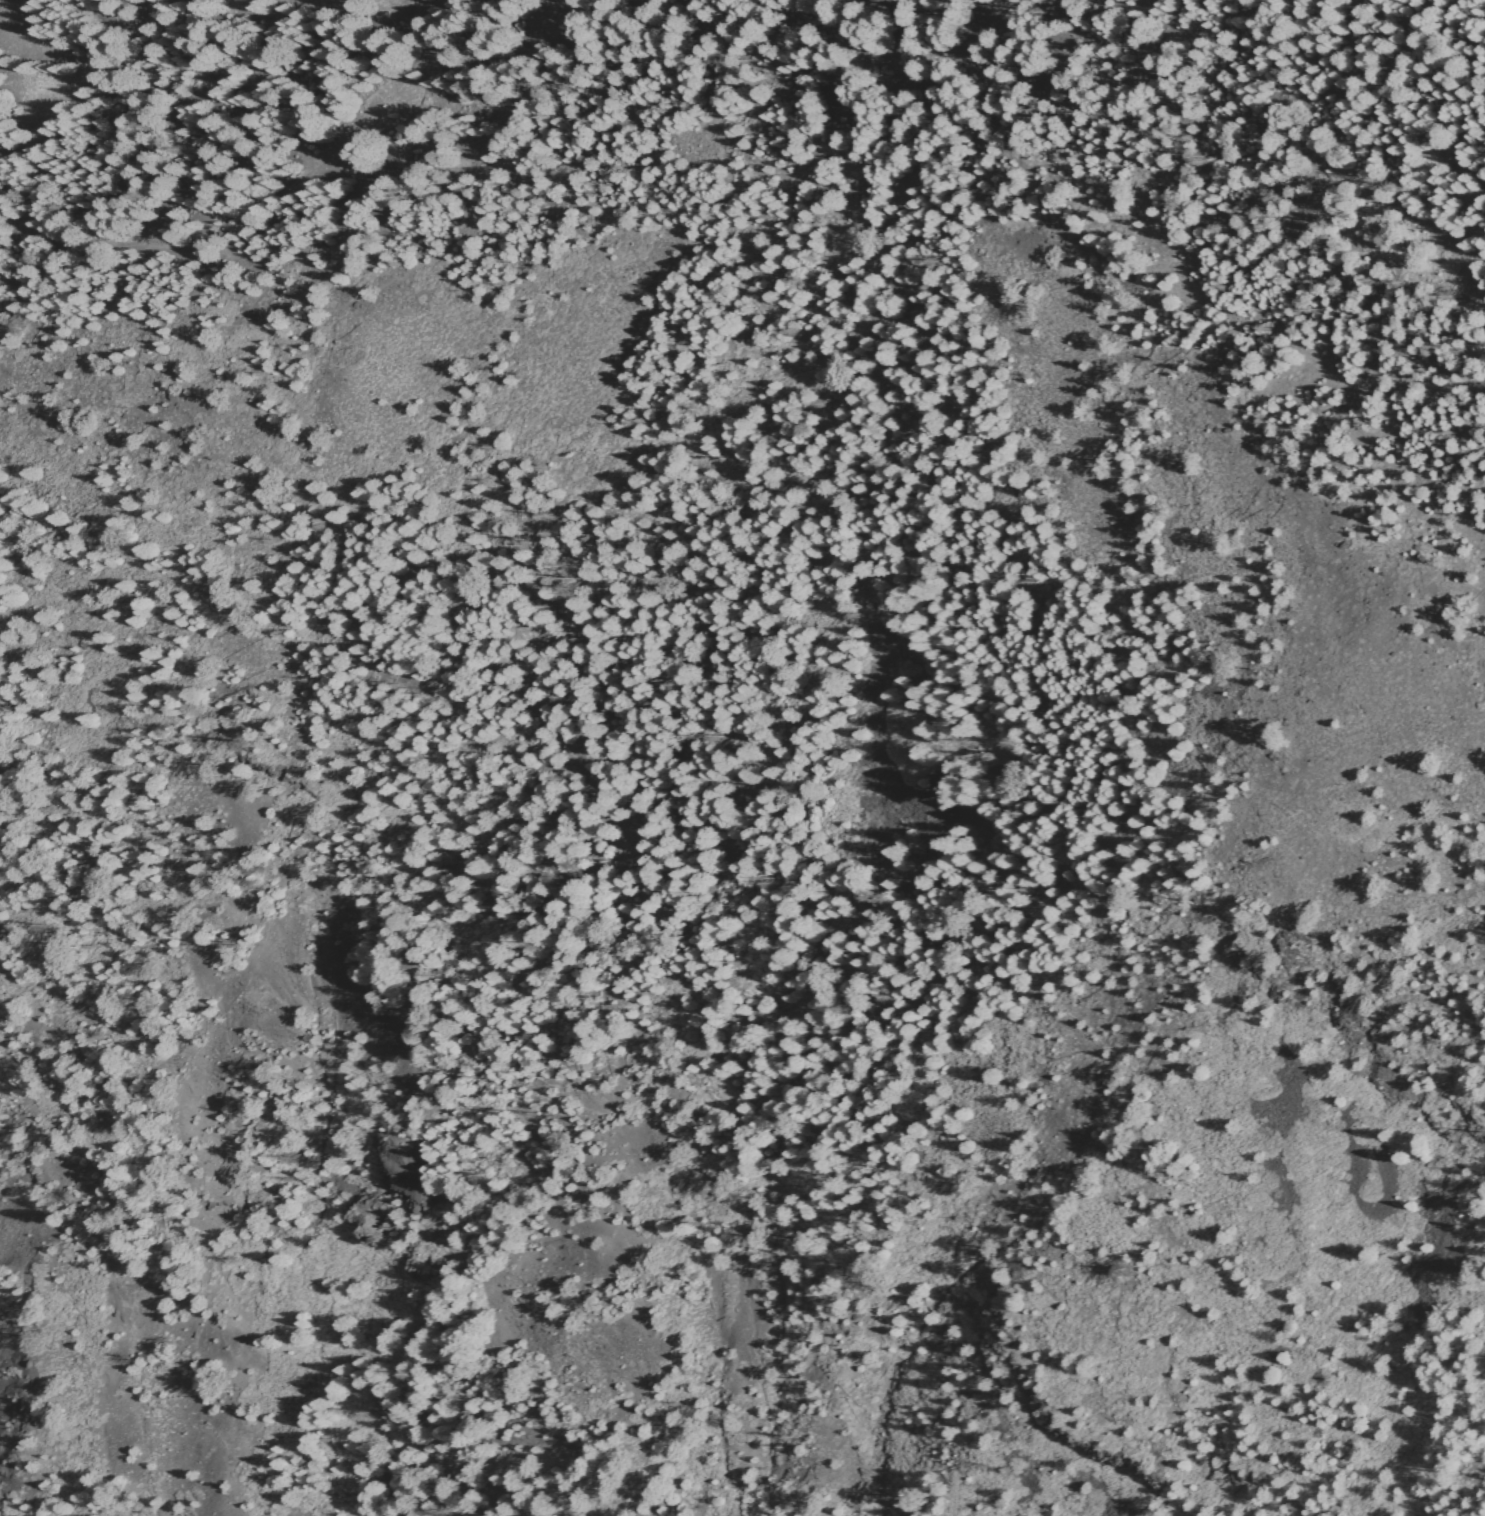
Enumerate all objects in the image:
road: (331, 302)

